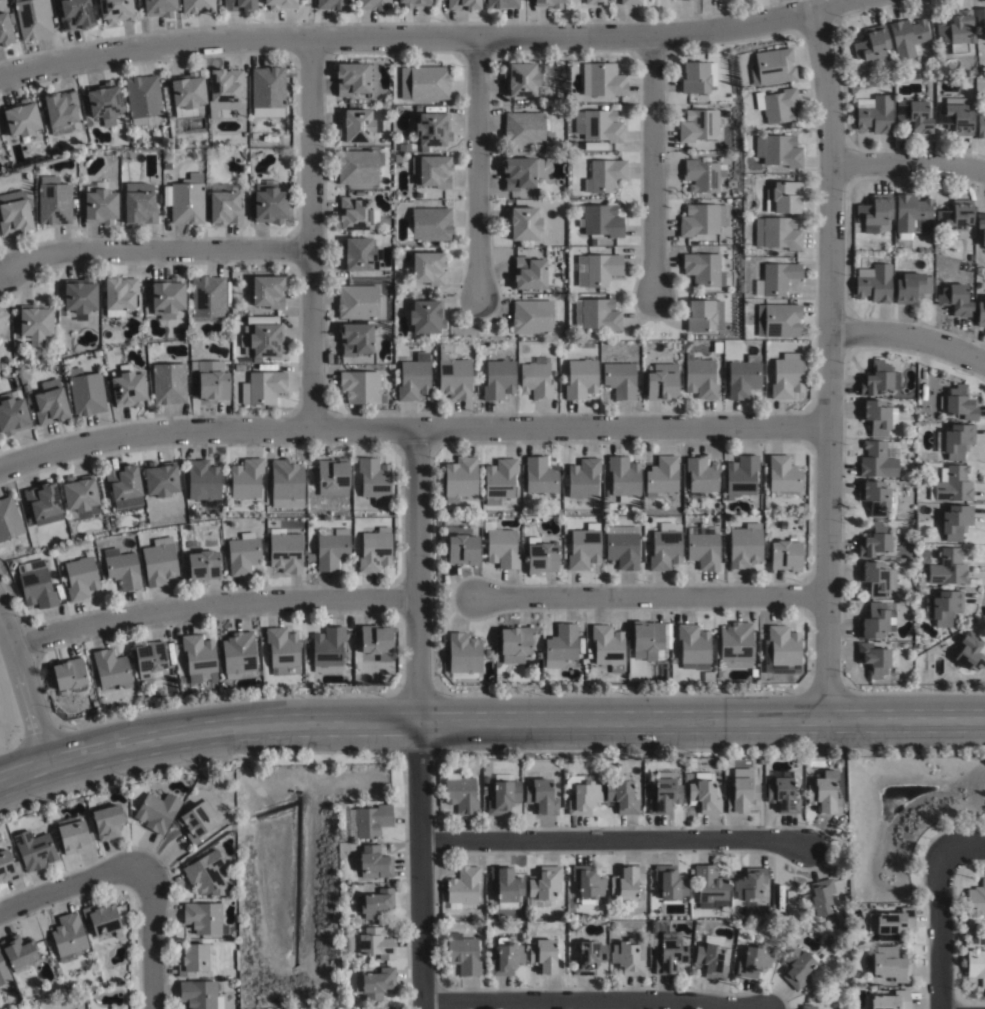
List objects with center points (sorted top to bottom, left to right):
building: (685, 0)
building: (281, 3)
building: (595, 3)
building: (630, 3)
building: (237, 4)
building: (411, 4)
building: (550, 4)
building: (197, 5)
building: (331, 5)
building: (502, 5)
building: (158, 6)
building: (373, 6)
building: (463, 6)
building: (115, 9)
building: (76, 13)
building: (981, 16)
building: (33, 17)
building: (6, 26)
building: (956, 30)
building: (907, 35)
road: (427, 37)
building: (871, 42)
building: (771, 65)
building: (713, 73)
building: (693, 74)
building: (354, 76)
building: (520, 76)
building: (604, 77)
building: (225, 81)
building: (424, 81)
building: (188, 89)
building: (267, 90)
building: (143, 96)
building: (104, 101)
building: (777, 104)
building: (59, 109)
building: (874, 112)
building: (913, 113)
building: (22, 116)
building: (956, 116)
building: (358, 123)
building: (697, 123)
building: (598, 124)
building: (432, 125)
building: (980, 125)
building: (526, 129)
building: (594, 144)
building: (778, 149)
building: (0, 150)
road: (909, 163)
building: (357, 164)
building: (167, 165)
road: (653, 165)
building: (431, 168)
road: (475, 168)
building: (520, 170)
building: (606, 173)
building: (700, 175)
building: (731, 183)
building: (418, 194)
building: (785, 194)
building: (185, 198)
building: (54, 199)
building: (268, 202)
building: (100, 203)
building: (224, 205)
building: (139, 206)
building: (354, 211)
building: (873, 212)
building: (911, 214)
building: (15, 215)
building: (722, 215)
building: (954, 215)
building: (698, 218)
building: (599, 219)
building: (523, 221)
building: (429, 223)
building: (981, 224)
building: (777, 232)
road: (310, 234)
road: (155, 252)
building: (356, 252)
building: (969, 256)
building: (426, 265)
building: (601, 268)
building: (702, 268)
building: (529, 272)
building: (774, 277)
building: (873, 281)
building: (911, 286)
building: (268, 289)
building: (120, 292)
building: (78, 296)
building: (208, 296)
building: (166, 298)
building: (956, 298)
building: (358, 301)
building: (981, 312)
building: (596, 313)
building: (425, 314)
building: (703, 314)
building: (532, 316)
building: (2, 317)
building: (778, 319)
building: (34, 323)
building: (354, 337)
road: (909, 337)
building: (262, 339)
road: (829, 360)
building: (452, 373)
building: (413, 376)
building: (699, 376)
building: (743, 376)
building: (786, 377)
building: (878, 377)
building: (498, 378)
building: (536, 378)
building: (580, 378)
building: (620, 378)
building: (168, 382)
building: (659, 383)
building: (213, 384)
building: (360, 386)
building: (263, 387)
building: (127, 388)
building: (87, 392)
building: (958, 402)
building: (49, 405)
building: (11, 414)
building: (877, 415)
road: (411, 429)
building: (955, 440)
building: (878, 459)
building: (782, 474)
building: (540, 475)
building: (741, 475)
building: (662, 476)
building: (700, 476)
building: (333, 477)
building: (246, 478)
building: (459, 478)
building: (583, 478)
building: (624, 478)
building: (286, 479)
building: (375, 479)
building: (160, 480)
building: (499, 480)
building: (203, 482)
building: (951, 484)
building: (124, 485)
building: (876, 496)
building: (79, 497)
building: (43, 503)
building: (9, 518)
building: (955, 521)
building: (874, 542)
building: (500, 545)
building: (744, 545)
building: (622, 546)
building: (665, 547)
building: (702, 547)
building: (331, 548)
building: (583, 548)
building: (462, 549)
building: (375, 550)
building: (285, 551)
building: (243, 553)
building: (785, 555)
building: (310, 557)
building: (541, 557)
building: (158, 561)
building: (201, 563)
building: (121, 568)
building: (948, 568)
building: (79, 577)
building: (876, 578)
building: (34, 584)
road: (651, 595)
road: (212, 602)
building: (943, 607)
building: (875, 621)
building: (378, 640)
building: (648, 641)
building: (514, 644)
building: (735, 645)
building: (561, 646)
building: (694, 646)
building: (607, 647)
building: (328, 650)
building: (780, 650)
building: (282, 651)
building: (463, 653)
building: (239, 655)
building: (968, 657)
building: (199, 658)
building: (874, 658)
building: (150, 659)
building: (111, 669)
building: (68, 674)
building: (708, 677)
road: (25, 687)
road: (488, 718)
road: (417, 719)
building: (782, 793)
building: (824, 793)
building: (460, 794)
building: (502, 795)
building: (581, 795)
building: (665, 796)
building: (742, 796)
building: (540, 797)
building: (704, 797)
building: (621, 798)
building: (156, 812)
building: (106, 820)
building: (369, 821)
building: (196, 822)
building: (73, 836)
road: (611, 839)
road: (964, 847)
building: (33, 851)
building: (375, 862)
building: (7, 868)
building: (206, 874)
building: (671, 883)
building: (626, 884)
building: (587, 886)
road: (68, 887)
building: (463, 887)
building: (506, 887)
building: (543, 887)
building: (710, 888)
building: (751, 891)
building: (818, 900)
building: (976, 902)
building: (375, 905)
building: (100, 918)
building: (204, 919)
building: (891, 924)
road: (938, 930)
building: (68, 938)
road: (152, 938)
building: (371, 945)
building: (19, 955)
building: (463, 955)
building: (670, 955)
building: (506, 958)
building: (544, 958)
building: (196, 959)
building: (589, 959)
building: (627, 959)
building: (710, 959)
building: (975, 960)
building: (754, 962)
building: (887, 965)
building: (800, 967)
building: (3, 975)
building: (376, 984)
building: (198, 995)
road: (583, 1000)
building: (889, 1001)
building: (810, 1006)

